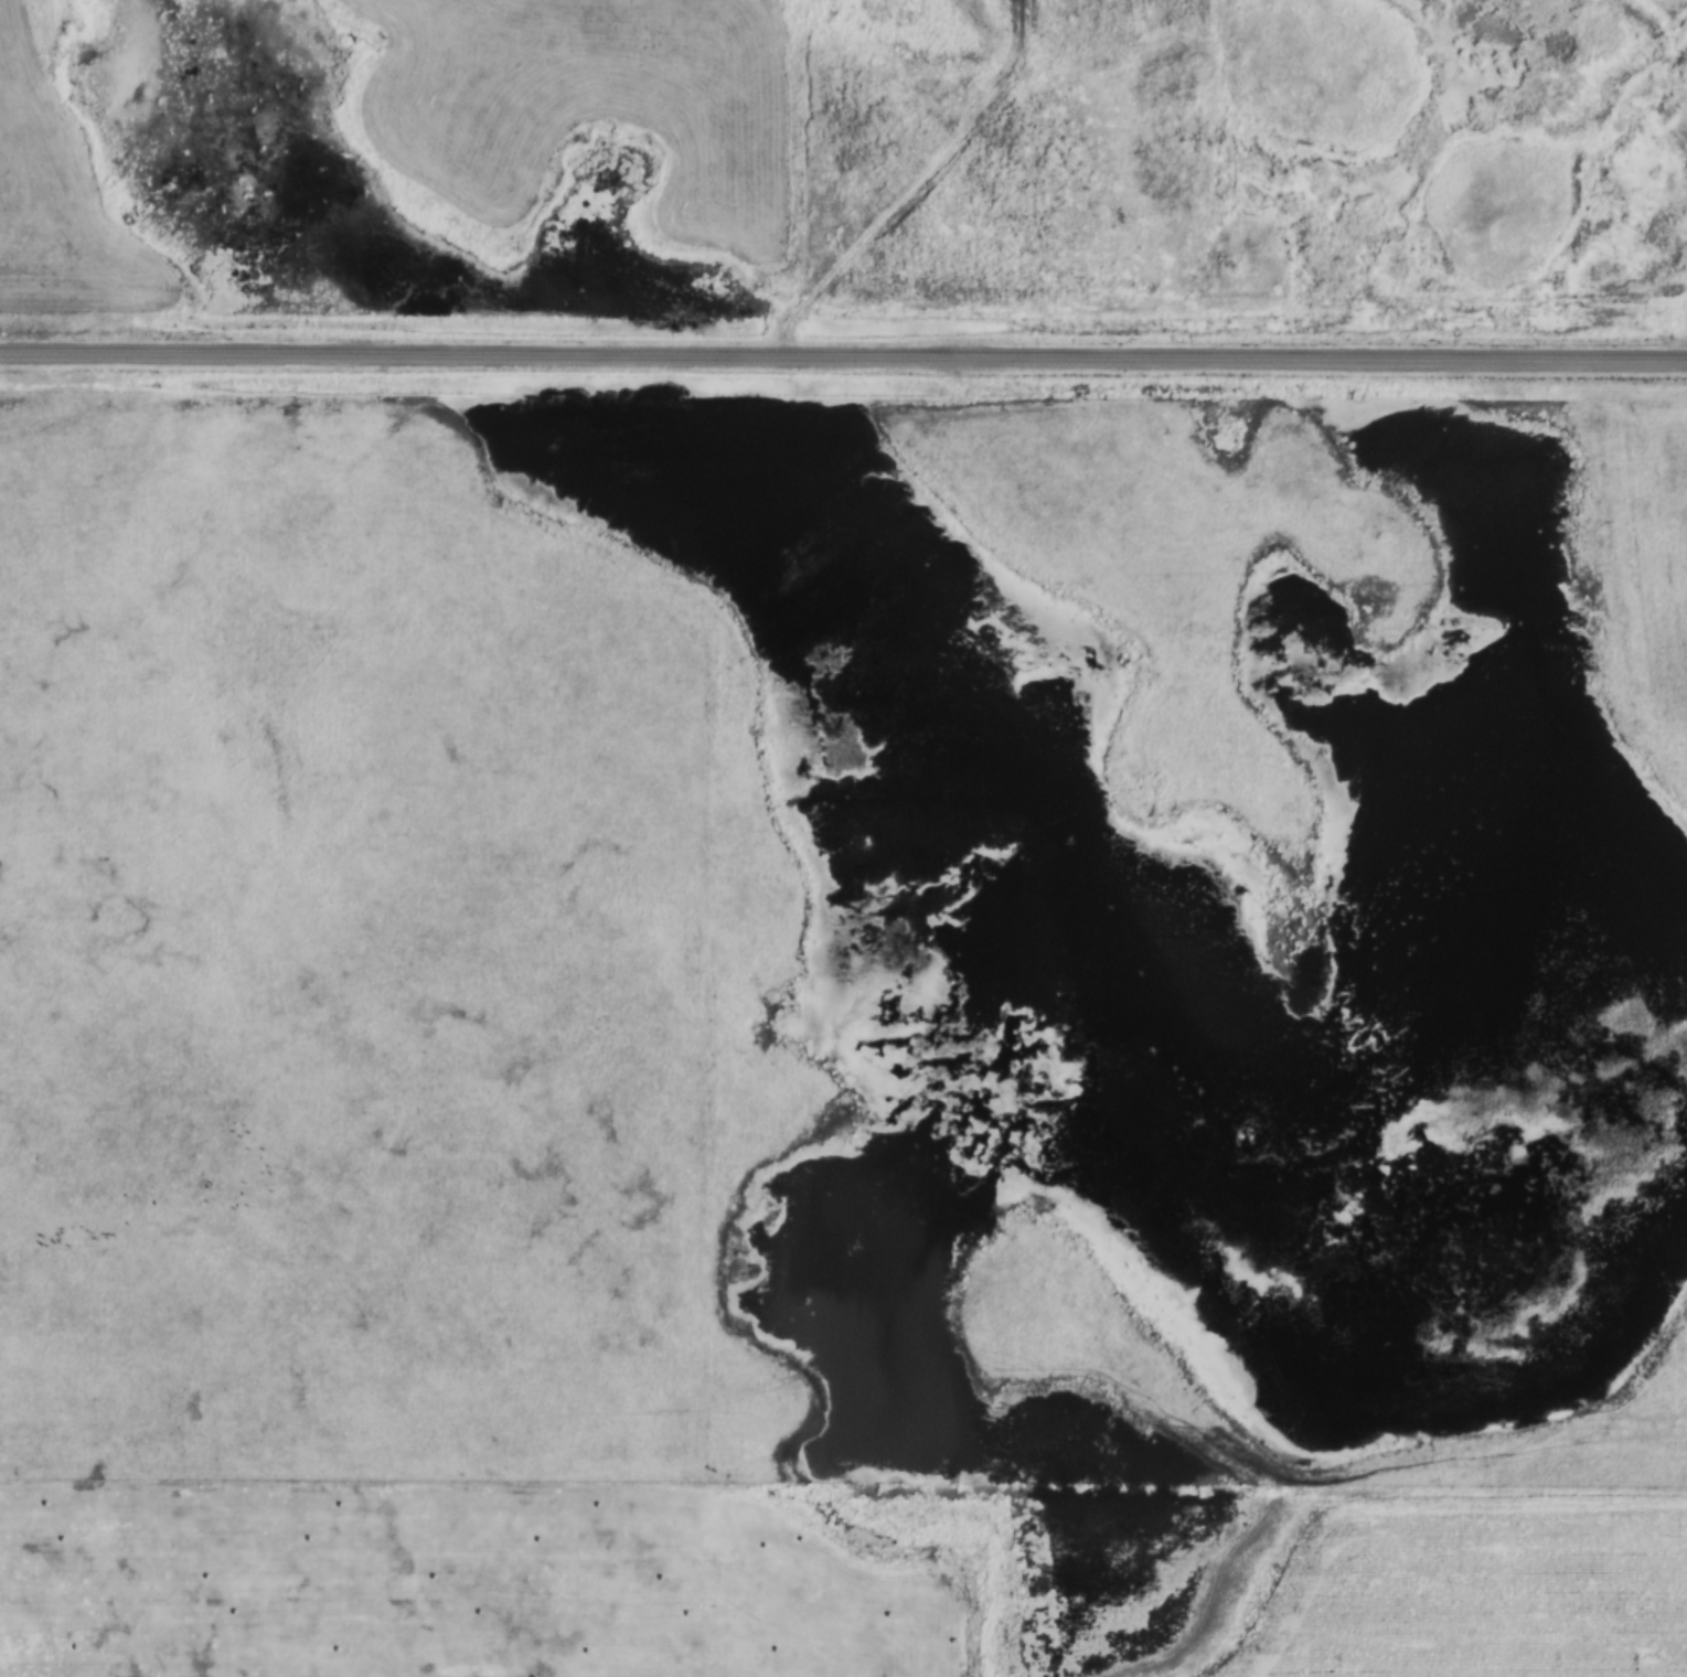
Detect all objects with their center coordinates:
airport: (1456, 159)
road: (843, 362)

